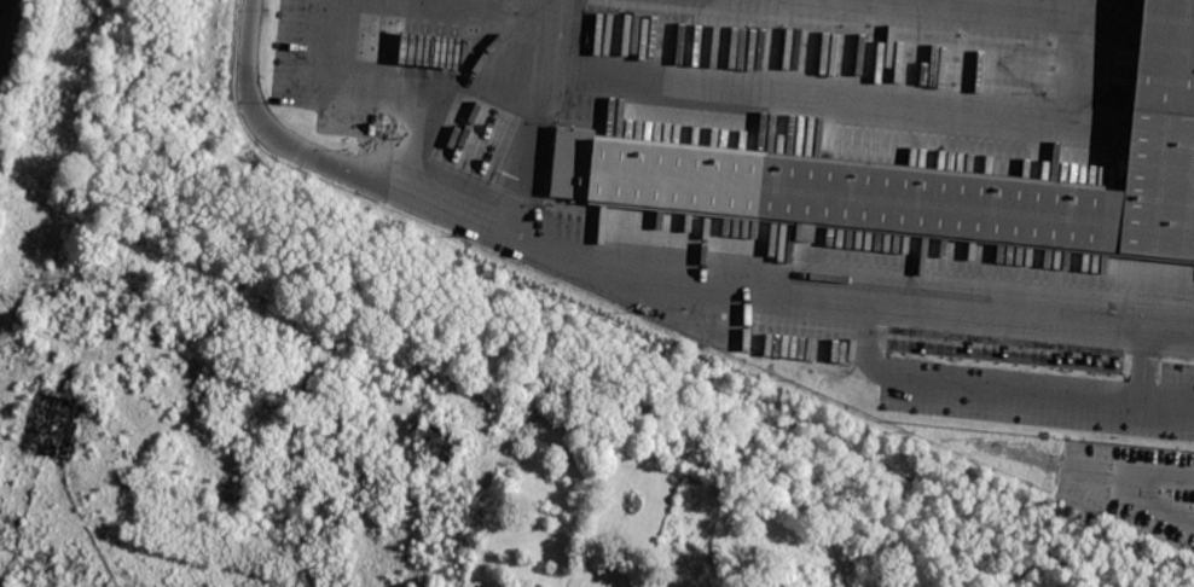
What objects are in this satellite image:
railway: (1, 7)
building: (431, 48)
road: (821, 104)
road: (532, 112)
road: (411, 132)
building: (935, 178)
road: (651, 260)
road: (27, 325)
road: (1143, 359)
road: (997, 382)
building: (50, 425)
building: (435, 441)
road: (1085, 467)
power tower: (19, 541)

